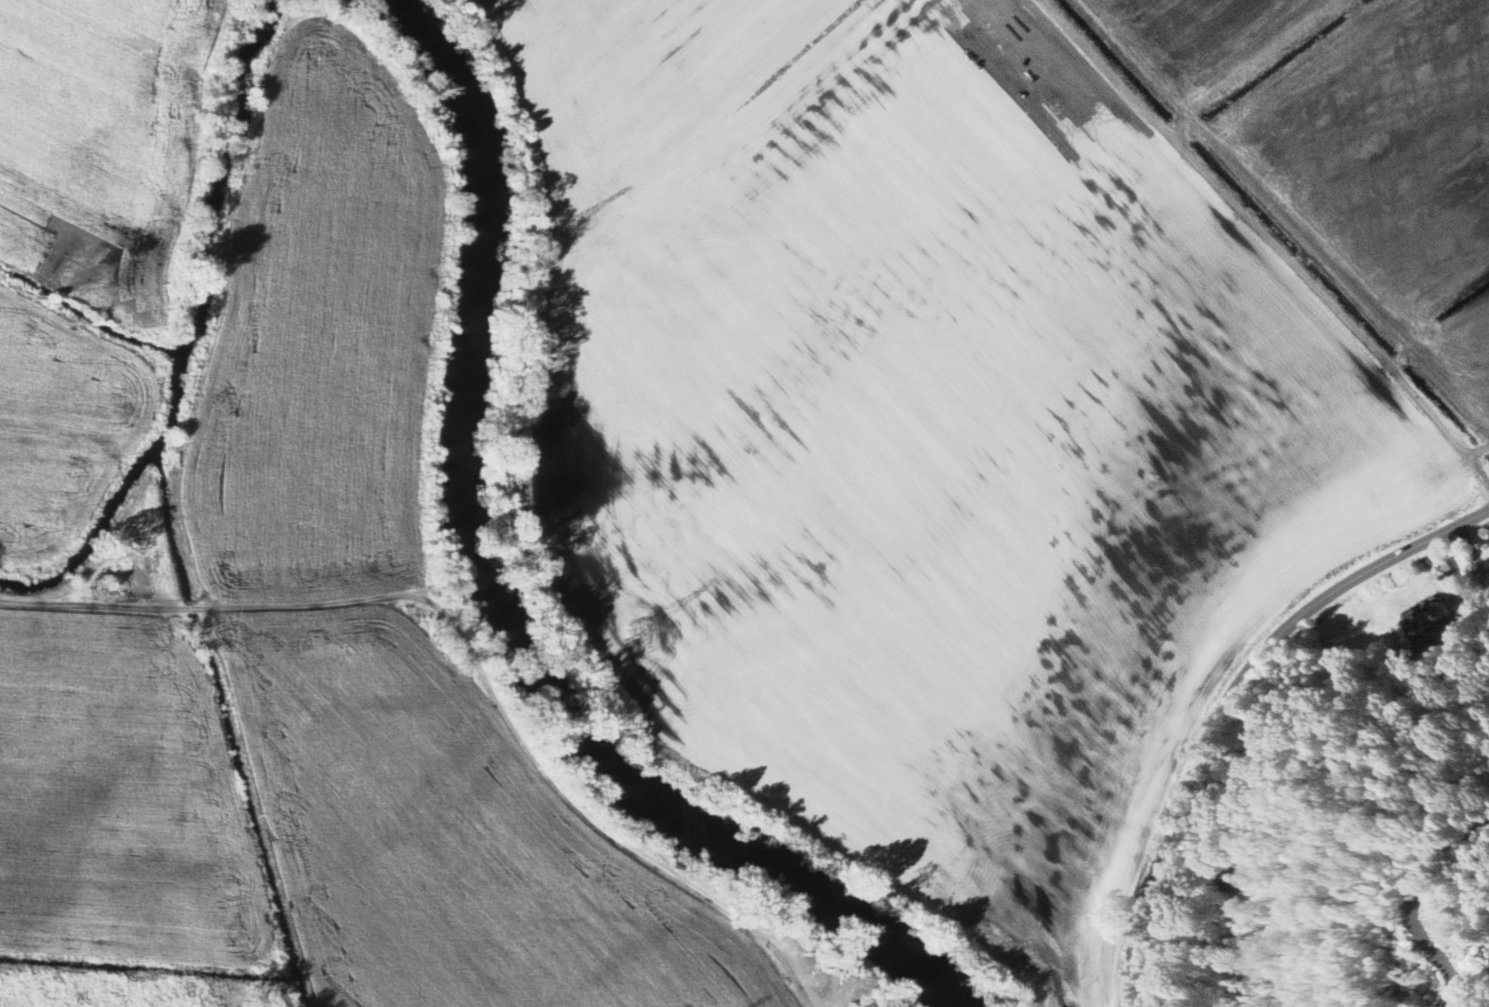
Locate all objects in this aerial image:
power tower: (560, 228)
building: (1488, 570)
river: (496, 597)
power tower: (641, 630)
road: (471, 659)
road: (1227, 697)
road: (1415, 901)

